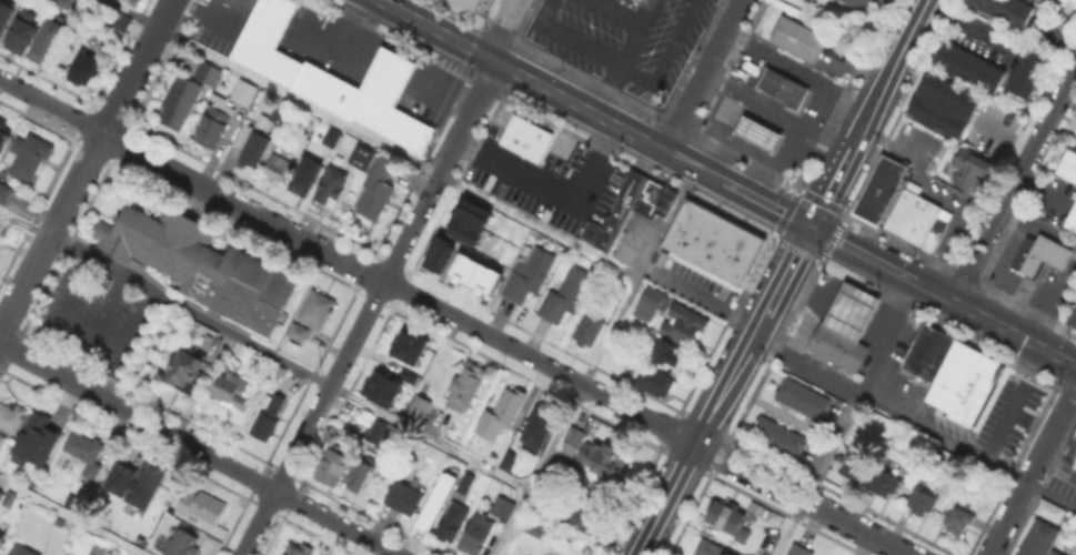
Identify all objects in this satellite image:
building: (63, 2)
building: (240, 2)
building: (466, 3)
building: (863, 3)
building: (1010, 9)
building: (3, 12)
road: (205, 14)
road: (615, 14)
building: (122, 21)
road: (350, 22)
road: (971, 26)
building: (22, 33)
road: (572, 37)
building: (798, 37)
building: (46, 39)
road: (335, 43)
road: (666, 52)
road: (626, 57)
building: (969, 63)
road: (895, 64)
building: (87, 68)
road: (737, 69)
road: (390, 71)
building: (209, 72)
road: (798, 72)
building: (1024, 72)
road: (704, 74)
building: (336, 78)
building: (781, 87)
building: (244, 91)
road: (439, 95)
building: (181, 102)
building: (939, 107)
road: (822, 111)
road: (594, 112)
road: (776, 115)
building: (214, 121)
road: (757, 130)
building: (1075, 130)
road: (715, 131)
building: (755, 132)
gas station: (755, 132)
building: (333, 135)
building: (4, 137)
building: (524, 137)
building: (259, 138)
road: (371, 138)
road: (745, 147)
building: (30, 155)
building: (359, 155)
road: (775, 161)
building: (1067, 163)
road: (86, 164)
building: (279, 165)
building: (972, 168)
building: (309, 171)
road: (836, 178)
road: (925, 179)
road: (553, 182)
road: (1014, 183)
building: (332, 186)
building: (378, 188)
building: (877, 188)
road: (1040, 189)
building: (4, 193)
building: (652, 196)
building: (472, 211)
building: (911, 213)
building: (1070, 214)
road: (667, 223)
road: (1038, 225)
traffic signals: (812, 226)
building: (934, 229)
building: (462, 230)
building: (691, 230)
building: (601, 231)
building: (715, 242)
road: (943, 248)
building: (728, 249)
building: (438, 253)
building: (1037, 253)
building: (671, 256)
building: (742, 256)
building: (202, 264)
building: (463, 266)
building: (530, 275)
building: (483, 277)
road: (384, 280)
road: (782, 282)
road: (996, 282)
road: (804, 285)
road: (1018, 292)
building: (566, 295)
road: (1043, 295)
road: (864, 296)
road: (943, 296)
road: (702, 297)
road: (819, 302)
building: (652, 305)
road: (60, 309)
building: (318, 309)
building: (849, 310)
gas station: (849, 310)
road: (855, 312)
road: (454, 314)
road: (1063, 325)
road: (93, 326)
building: (685, 327)
building: (589, 329)
road: (848, 330)
building: (299, 332)
building: (209, 339)
building: (398, 344)
road: (127, 345)
building: (918, 346)
building: (836, 347)
road: (263, 351)
building: (666, 353)
building: (935, 355)
road: (807, 366)
building: (187, 371)
building: (404, 380)
building: (962, 381)
building: (657, 383)
building: (371, 385)
building: (467, 386)
building: (231, 390)
road: (863, 392)
building: (800, 397)
building: (399, 398)
road: (1012, 403)
building: (421, 406)
building: (510, 407)
building: (13, 414)
building: (269, 415)
road: (566, 416)
building: (535, 428)
building: (774, 435)
building: (2, 438)
building: (34, 438)
building: (573, 440)
building: (1072, 444)
road: (694, 445)
road: (198, 450)
road: (968, 451)
building: (86, 453)
building: (505, 457)
building: (603, 457)
building: (334, 465)
road: (1032, 470)
building: (854, 472)
building: (361, 474)
building: (886, 477)
building: (466, 482)
building: (145, 485)
building: (9, 497)
building: (405, 497)
building: (441, 500)
building: (922, 500)
building: (202, 506)
building: (503, 508)
building: (1047, 509)
road: (72, 516)
building: (958, 518)
building: (728, 519)
building: (453, 521)
building: (591, 521)
road: (790, 527)
building: (534, 528)
building: (1, 534)
building: (477, 534)
building: (1038, 539)
building: (1, 541)
building: (182, 543)
building: (298, 548)
building: (711, 549)
building: (22, 551)
building: (100, 551)
building: (800, 551)
building: (553, 552)
building: (61, 554)

